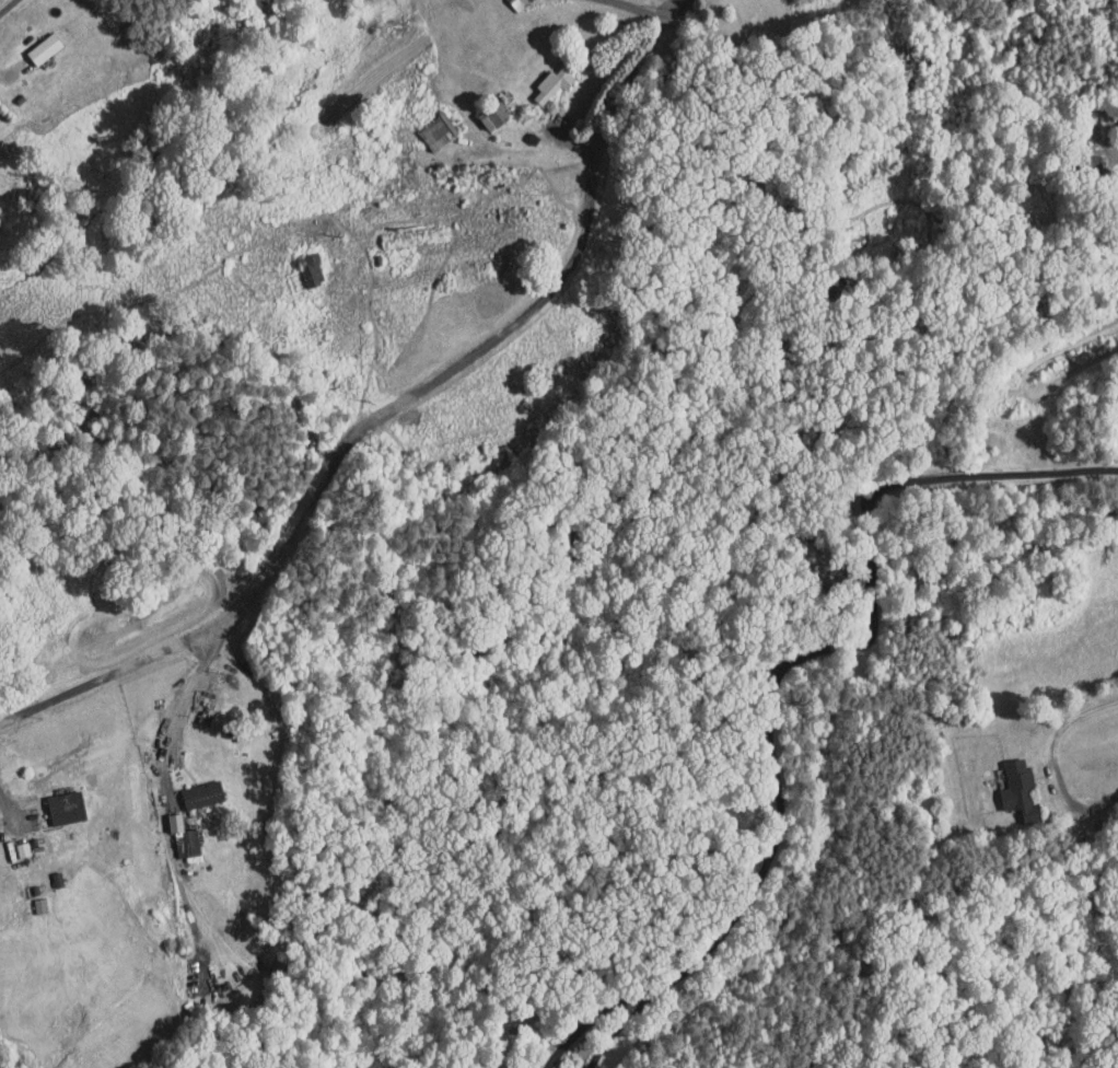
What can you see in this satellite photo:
road: (5, 4)
road: (644, 12)
building: (33, 42)
road: (8, 69)
building: (541, 77)
building: (482, 109)
road: (1091, 121)
building: (426, 125)
road: (595, 143)
building: (300, 263)
road: (283, 534)
road: (784, 665)
road: (182, 697)
road: (1050, 759)
building: (1008, 783)
building: (190, 786)
building: (55, 800)
road: (11, 809)
building: (171, 828)
building: (11, 841)
building: (28, 897)

